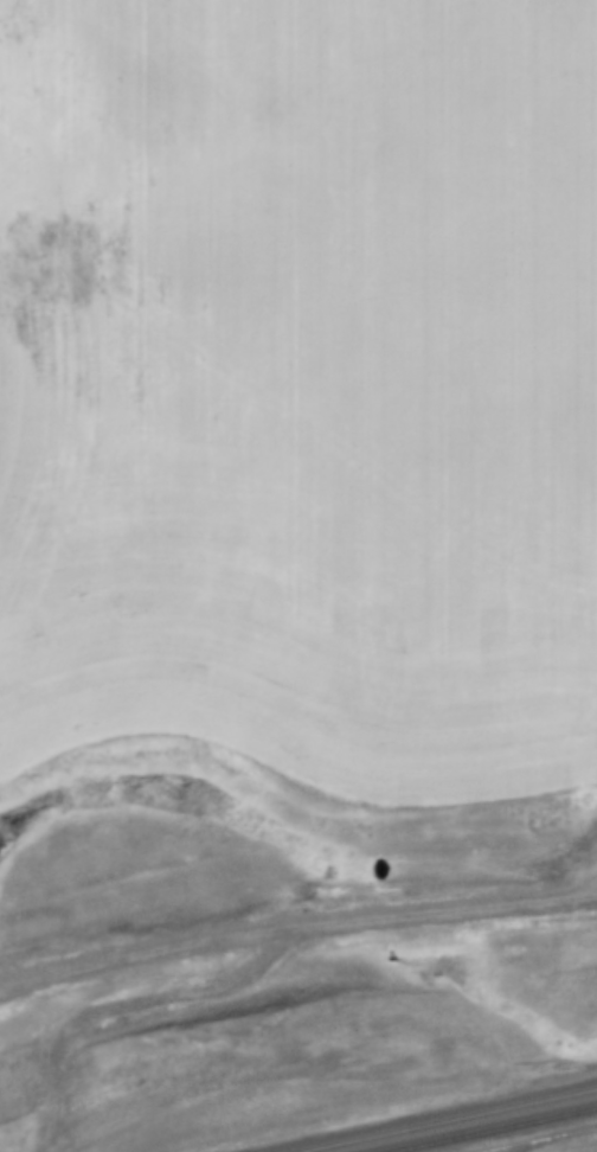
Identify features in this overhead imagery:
railway: (442, 1119)
railway: (489, 1129)

